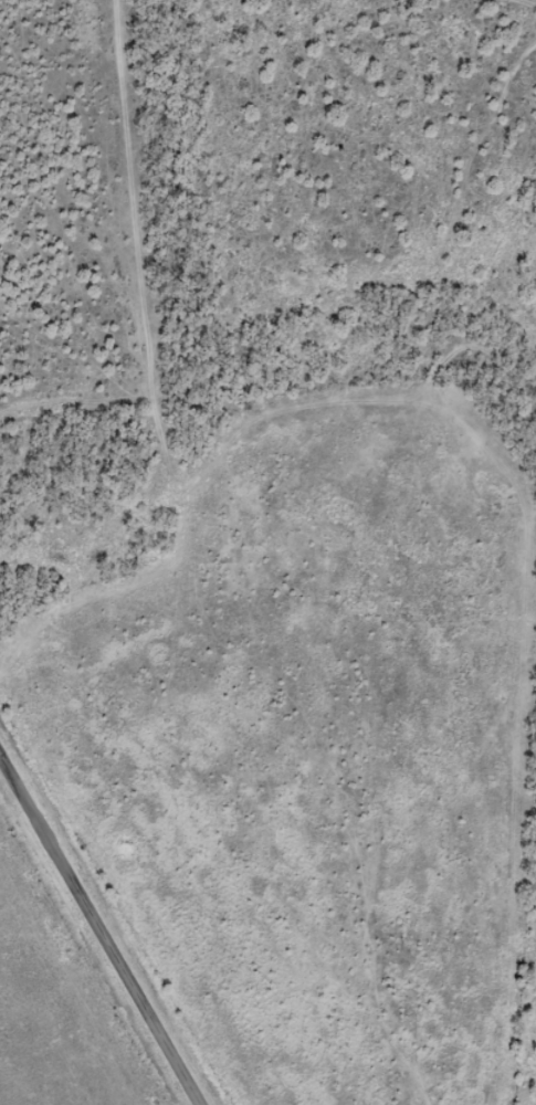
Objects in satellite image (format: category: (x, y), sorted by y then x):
road: (439, 70)
road: (102, 927)

